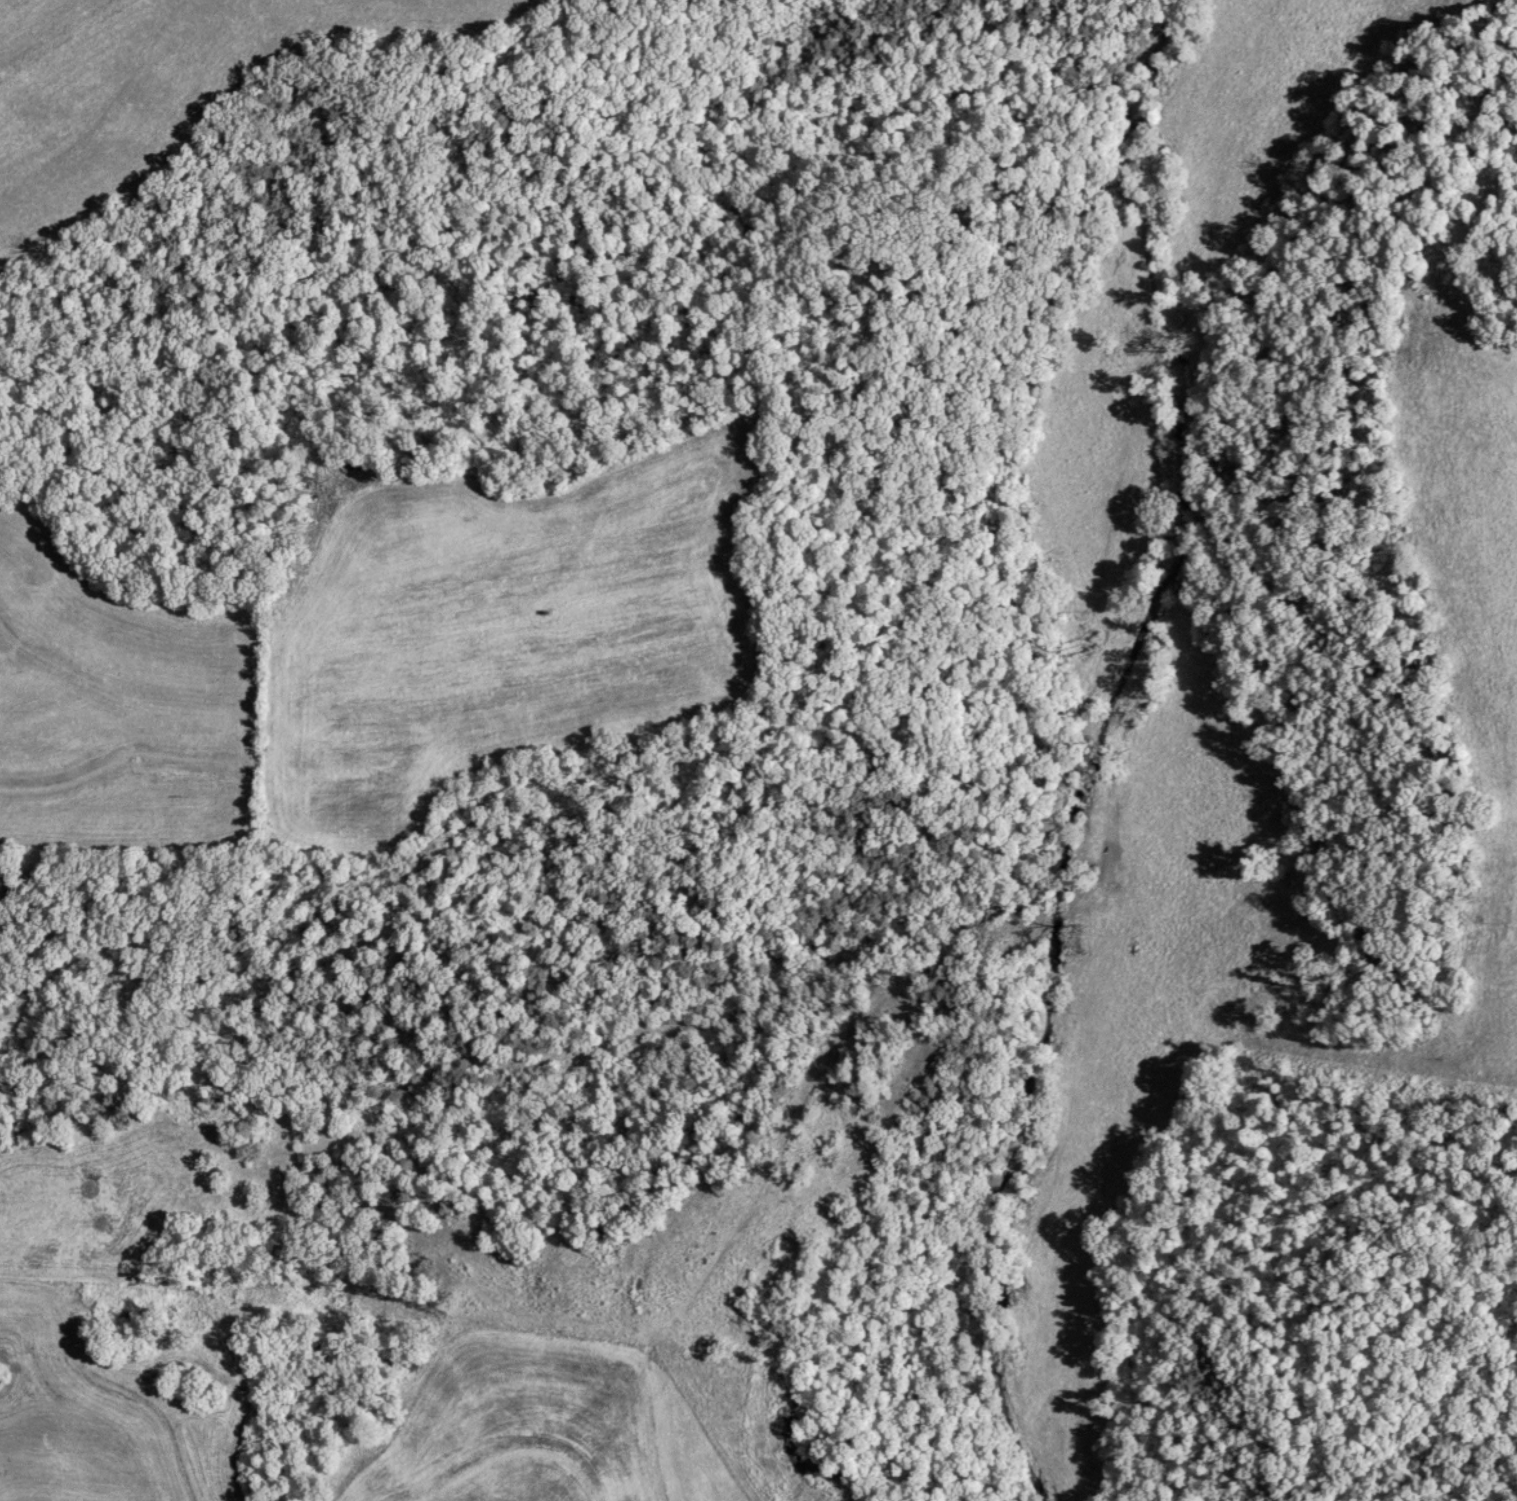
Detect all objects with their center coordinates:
road: (704, 1321)

